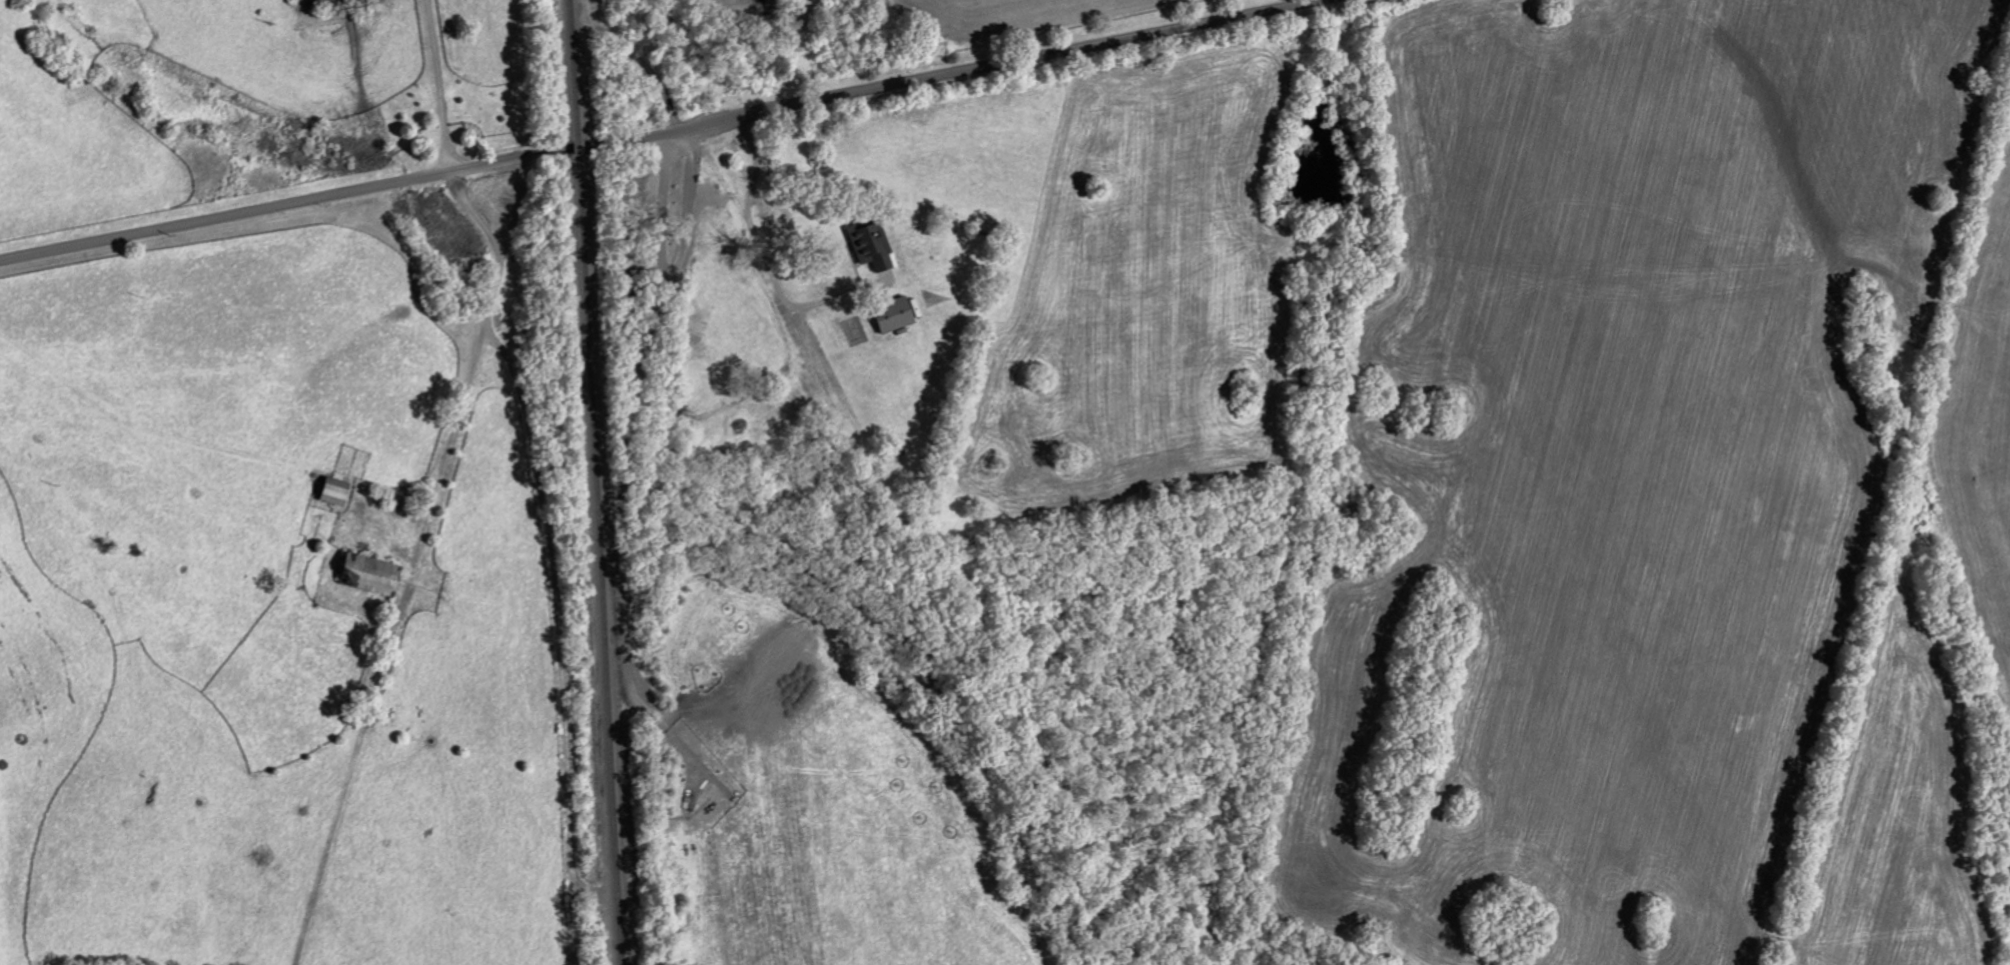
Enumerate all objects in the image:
railway: (572, 68)
road: (662, 133)
railway: (577, 145)
road: (745, 208)
building: (869, 245)
building: (889, 314)
road: (433, 481)
building: (328, 491)
railway: (596, 560)
building: (364, 573)
road: (558, 634)

